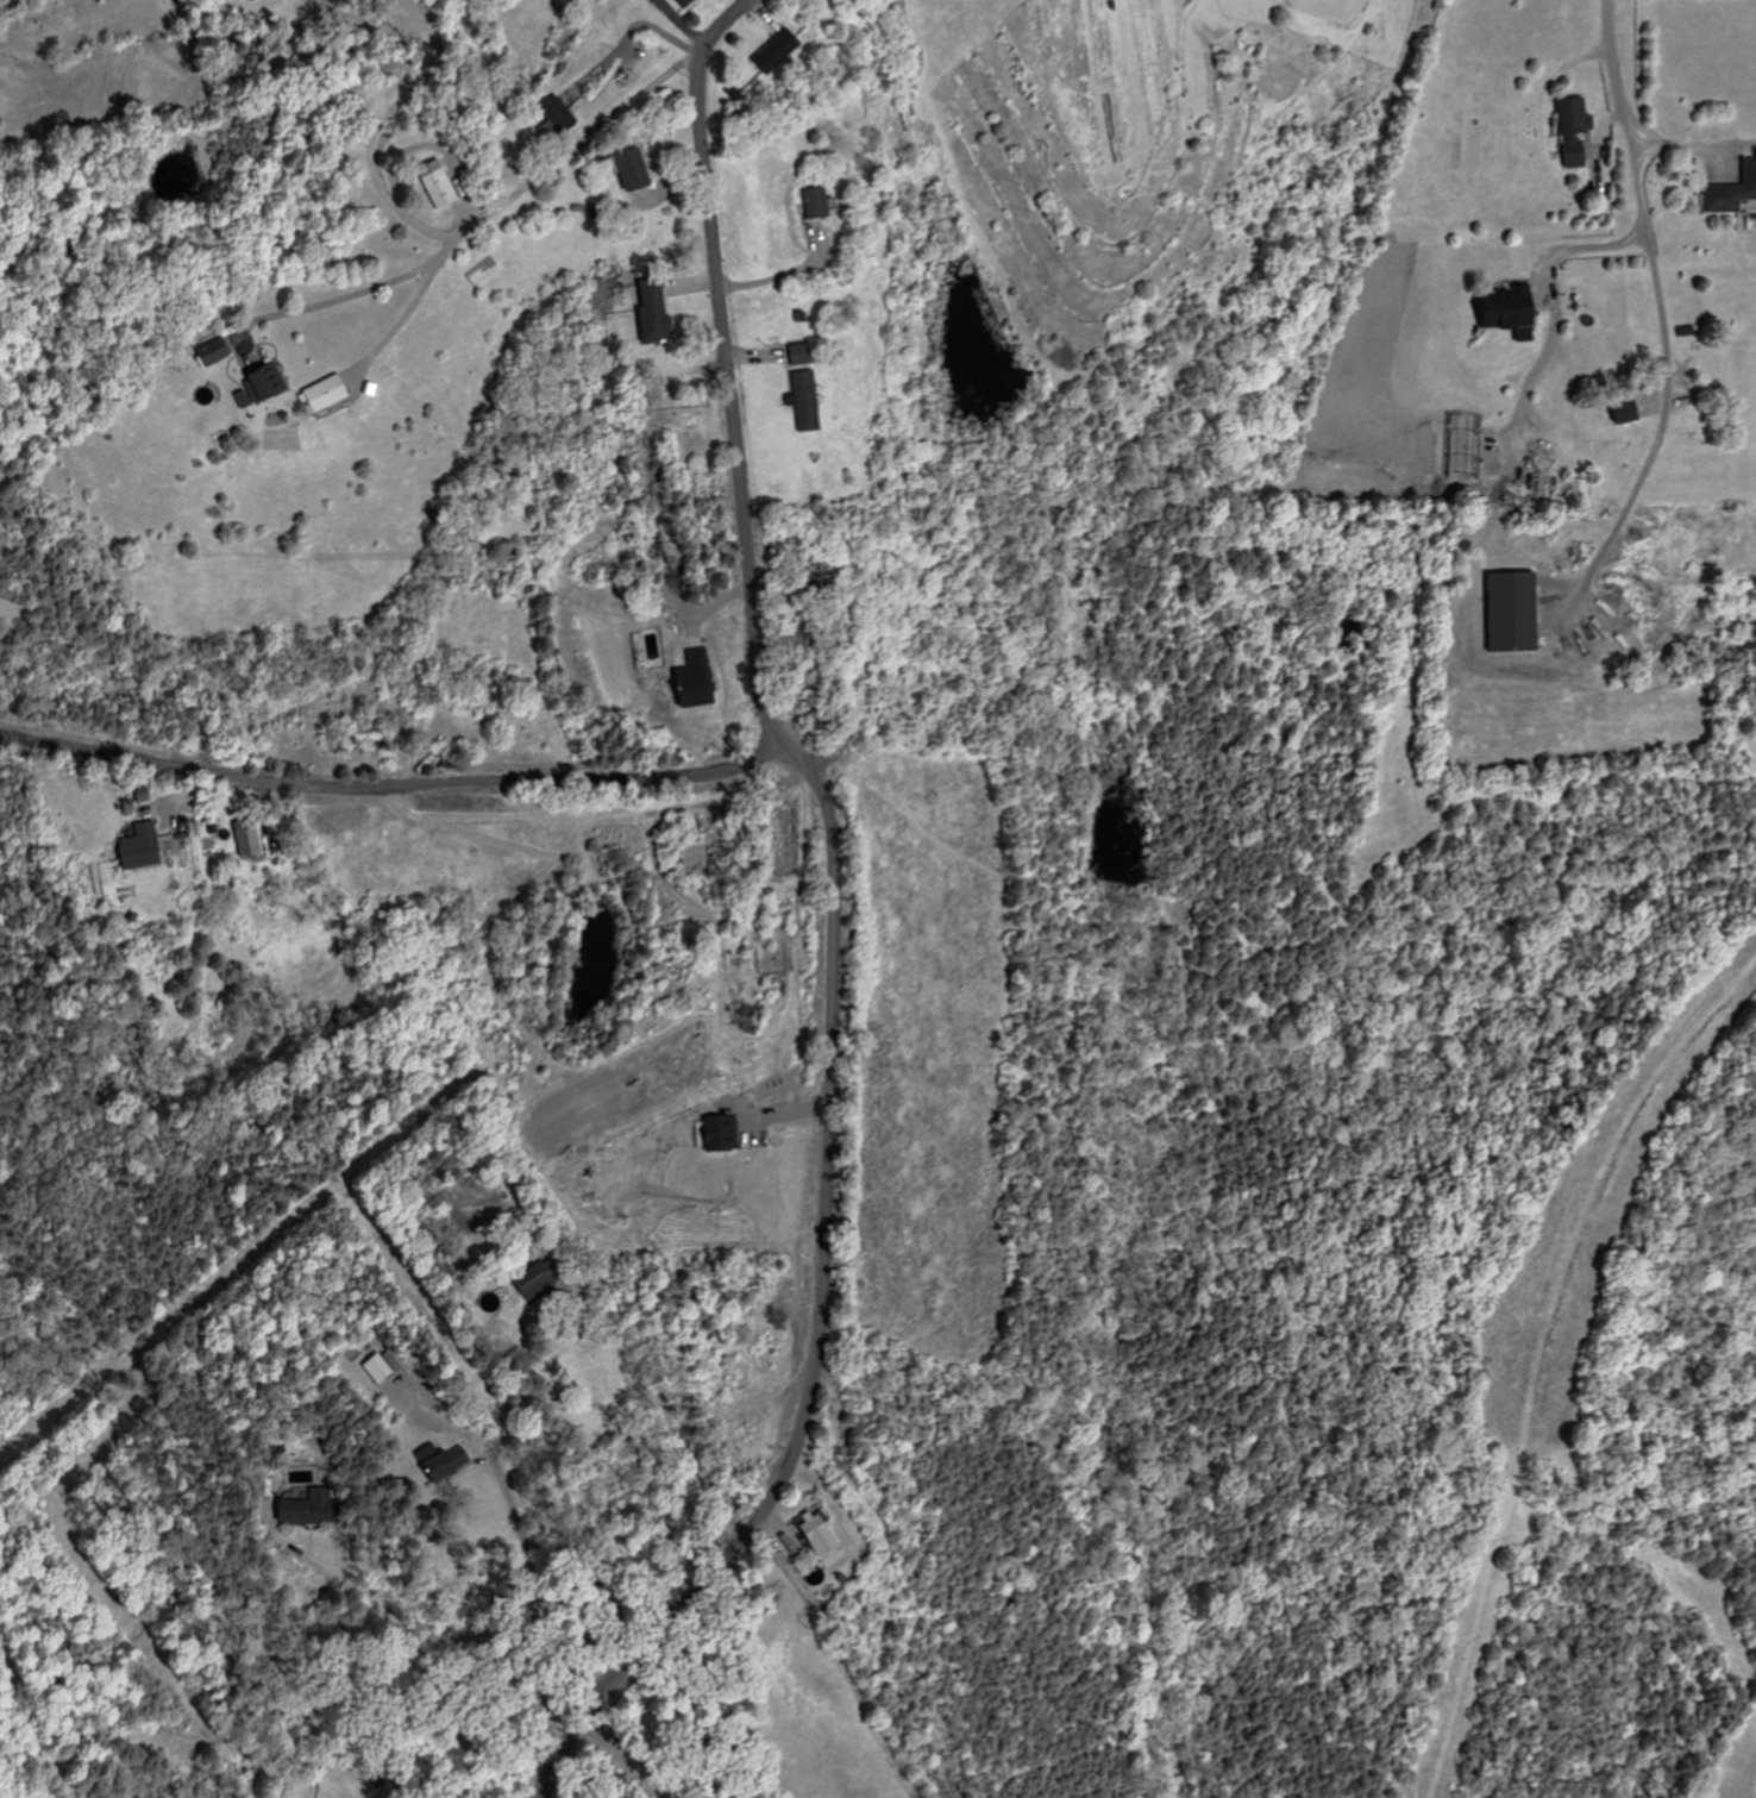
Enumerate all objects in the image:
building: (257, 0)
building: (690, 2)
road: (415, 13)
road: (371, 24)
road: (634, 25)
building: (783, 52)
road: (1608, 61)
building: (566, 117)
road: (1542, 130)
building: (1567, 130)
road: (368, 148)
building: (639, 170)
building: (441, 184)
building: (1730, 186)
building: (810, 202)
road: (481, 220)
road: (1579, 245)
road: (780, 275)
building: (646, 311)
building: (1497, 311)
road: (399, 317)
building: (215, 351)
building: (792, 353)
road: (1667, 382)
building: (257, 389)
building: (330, 391)
building: (802, 400)
building: (1614, 411)
building: (1575, 488)
building: (1504, 610)
building: (684, 679)
road: (389, 788)
building: (251, 837)
building: (143, 846)
road: (832, 920)
building: (713, 1133)
building: (535, 1280)
building: (380, 1368)
road: (664, 1408)
building: (445, 1461)
building: (303, 1508)
road: (533, 1597)
road: (416, 1643)
road: (625, 1759)

